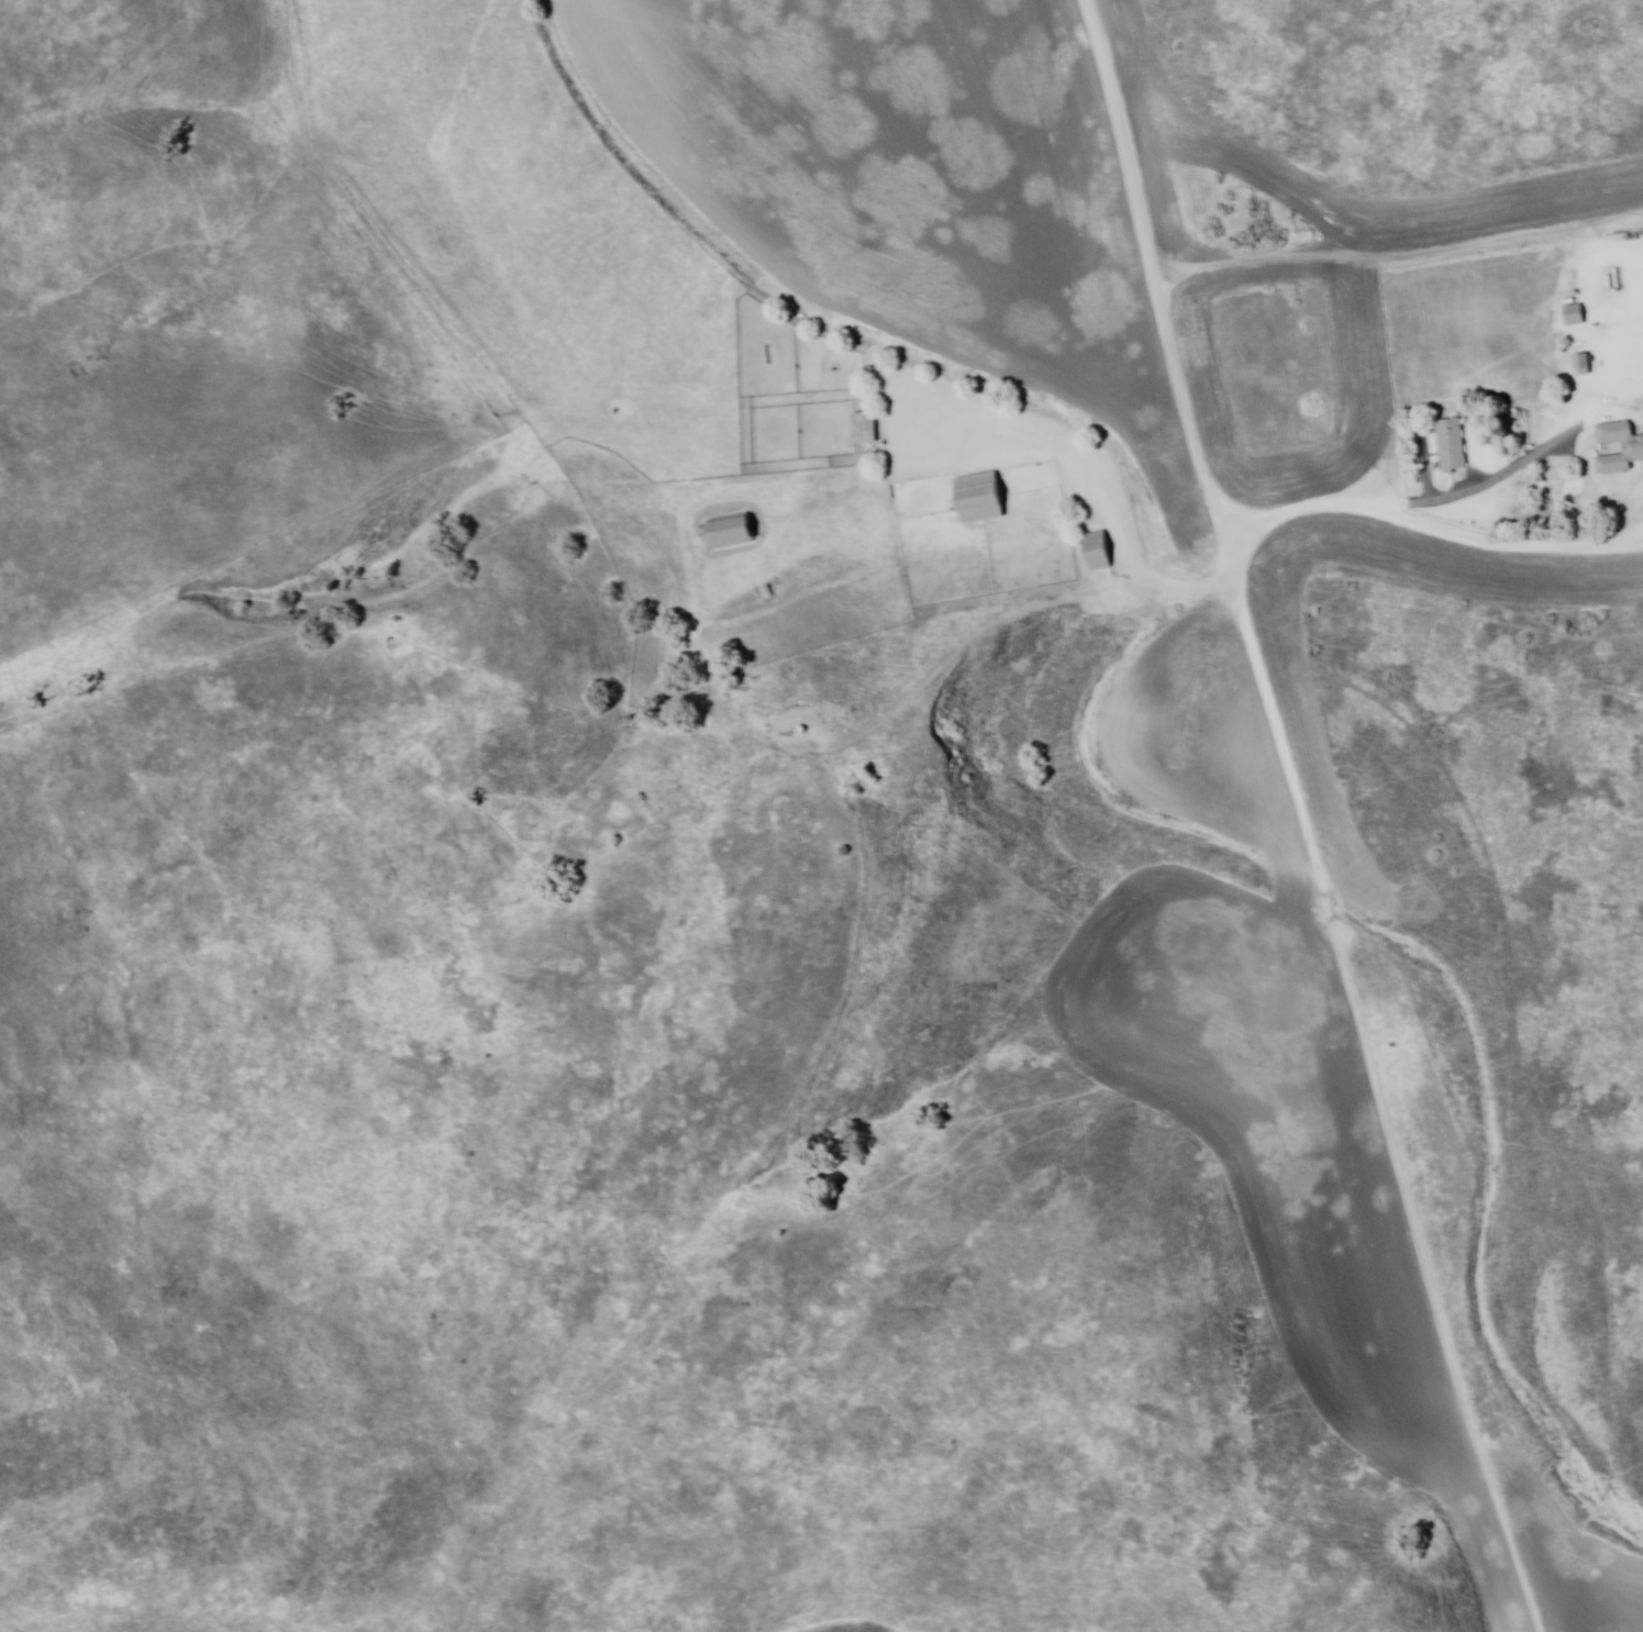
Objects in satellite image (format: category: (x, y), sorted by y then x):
building: (1576, 317)
building: (1584, 366)
building: (865, 431)
building: (1453, 447)
building: (1633, 452)
road: (1437, 499)
building: (981, 501)
building: (730, 532)
road: (1505, 542)
building: (1098, 554)
storage tank: (799, 731)
road: (1303, 817)

